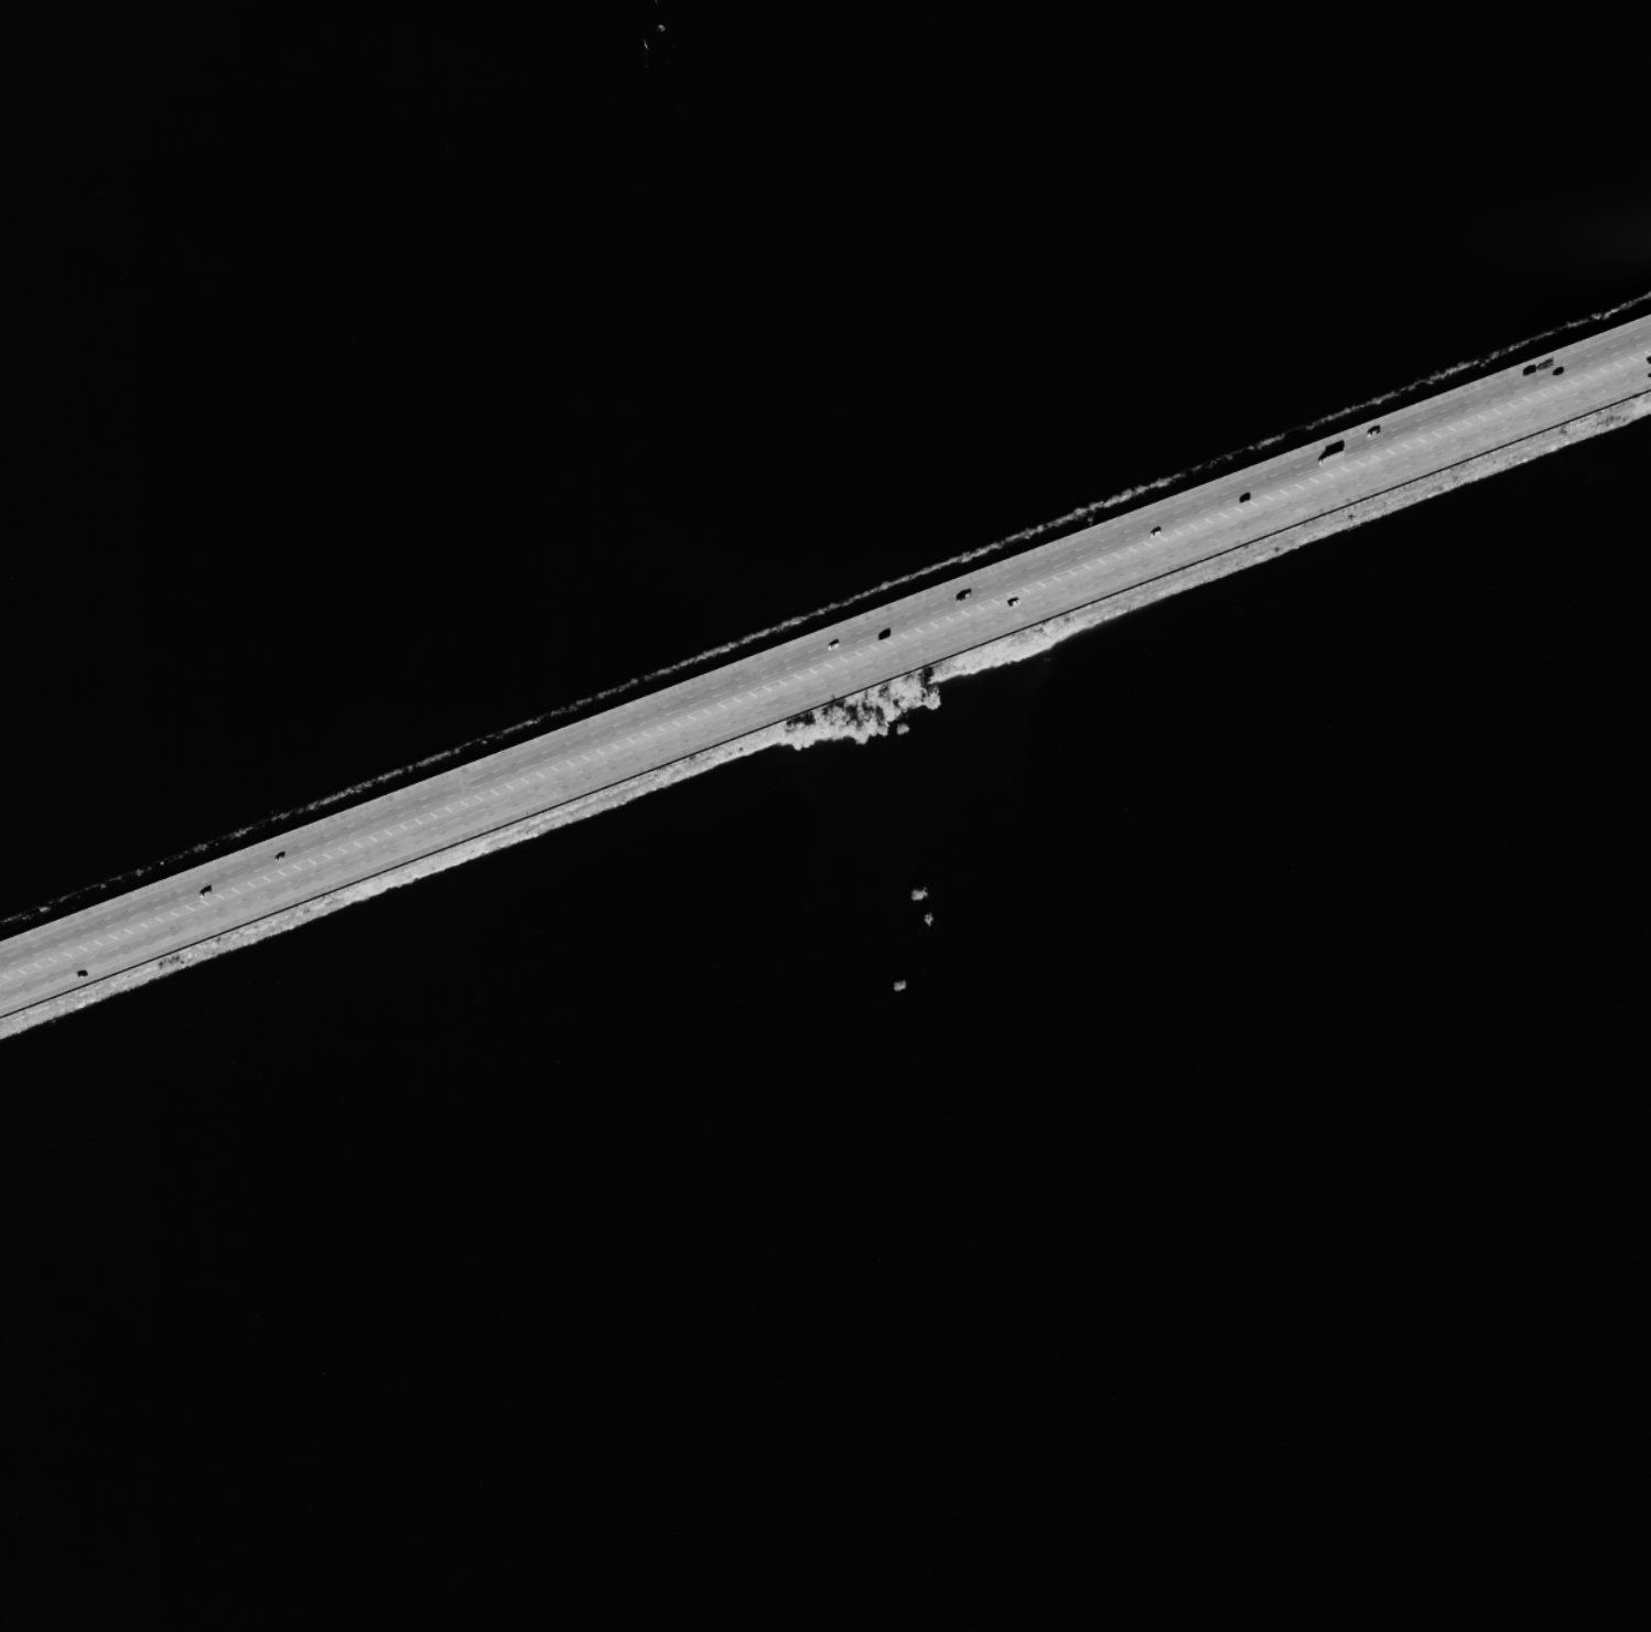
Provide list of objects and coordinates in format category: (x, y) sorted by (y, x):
road: (824, 678)
river: (1391, 1325)
river: (565, 1471)
river: (1123, 1571)

